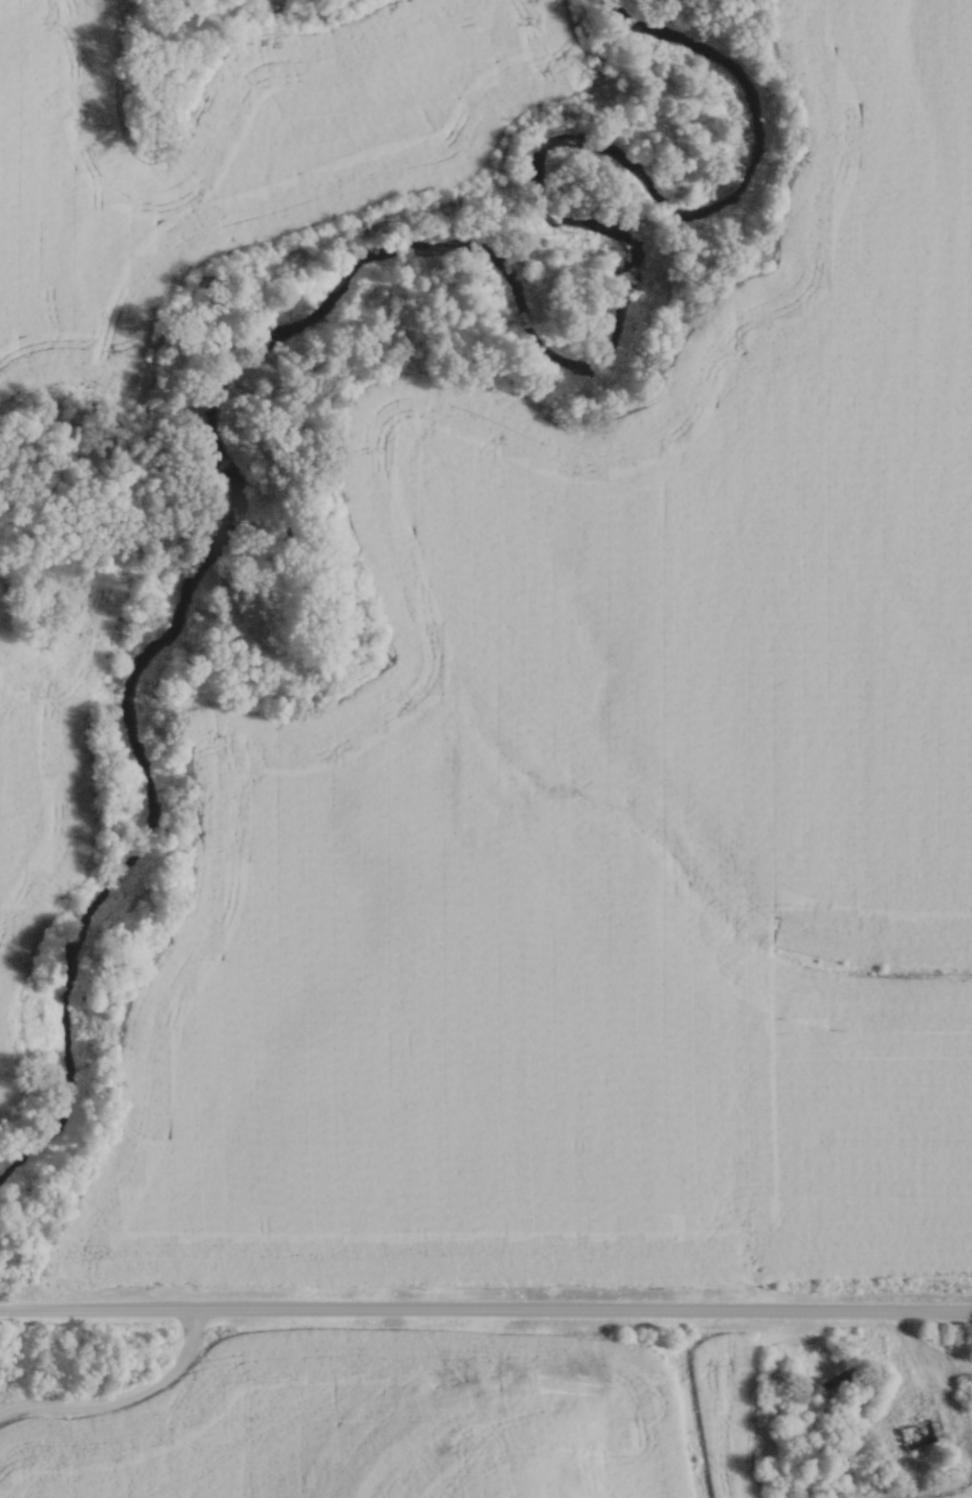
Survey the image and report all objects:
road: (485, 1306)
road: (915, 1364)
building: (841, 1376)
road: (128, 1404)
building: (923, 1430)

